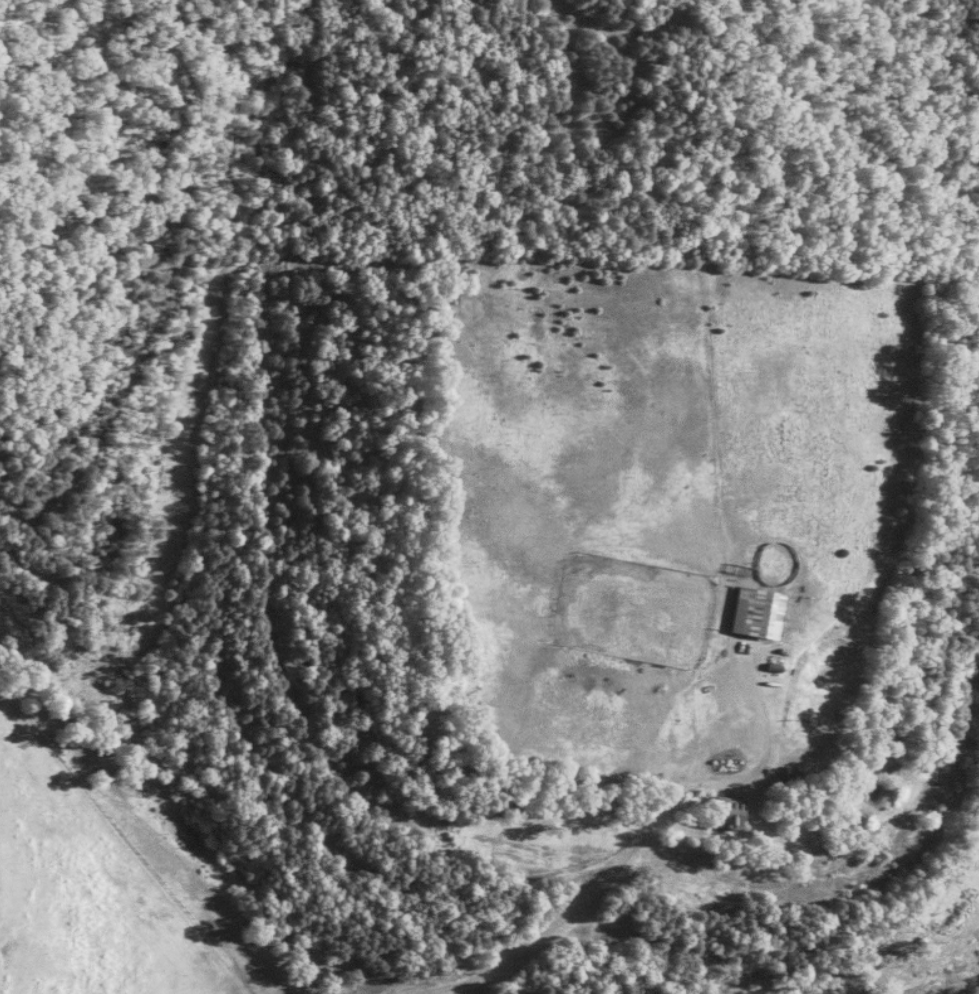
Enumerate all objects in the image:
building: (757, 613)
building: (729, 813)
road: (588, 897)

